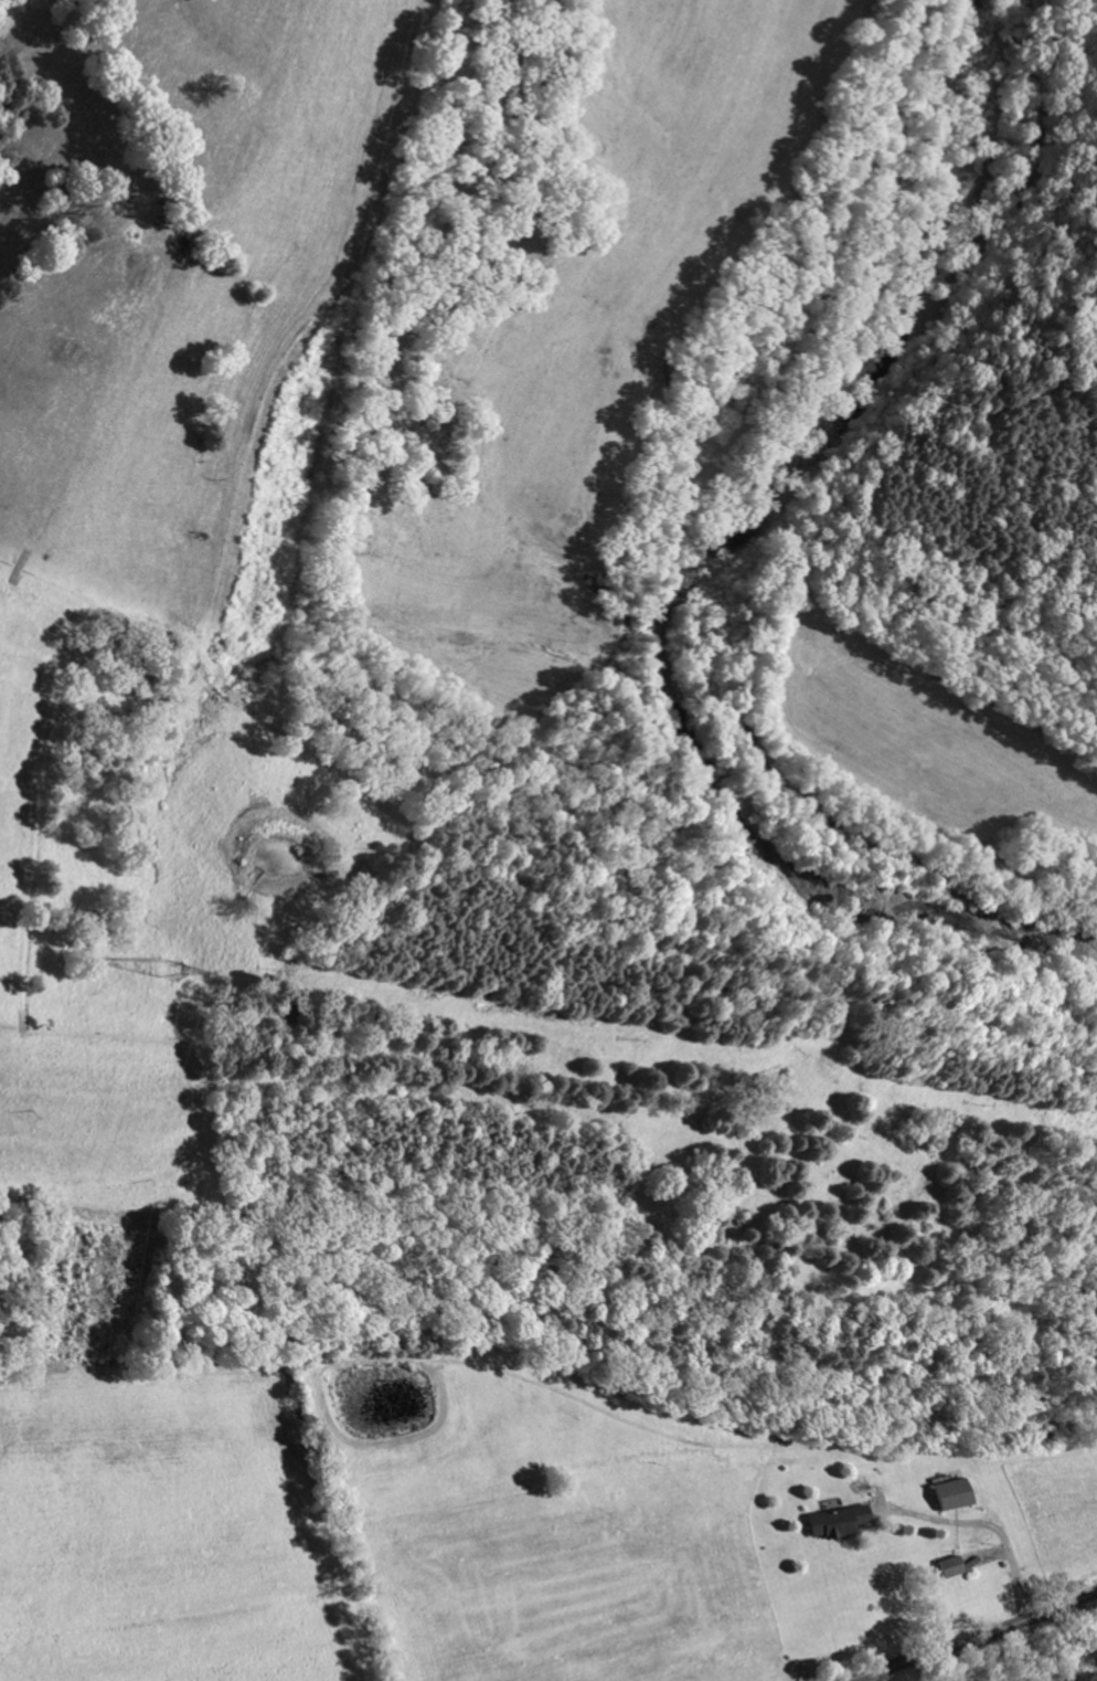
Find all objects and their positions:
power tower: (173, 970)
building: (1009, 1471)
building: (892, 1499)
road: (992, 1523)
building: (1002, 1544)
road: (974, 1639)

